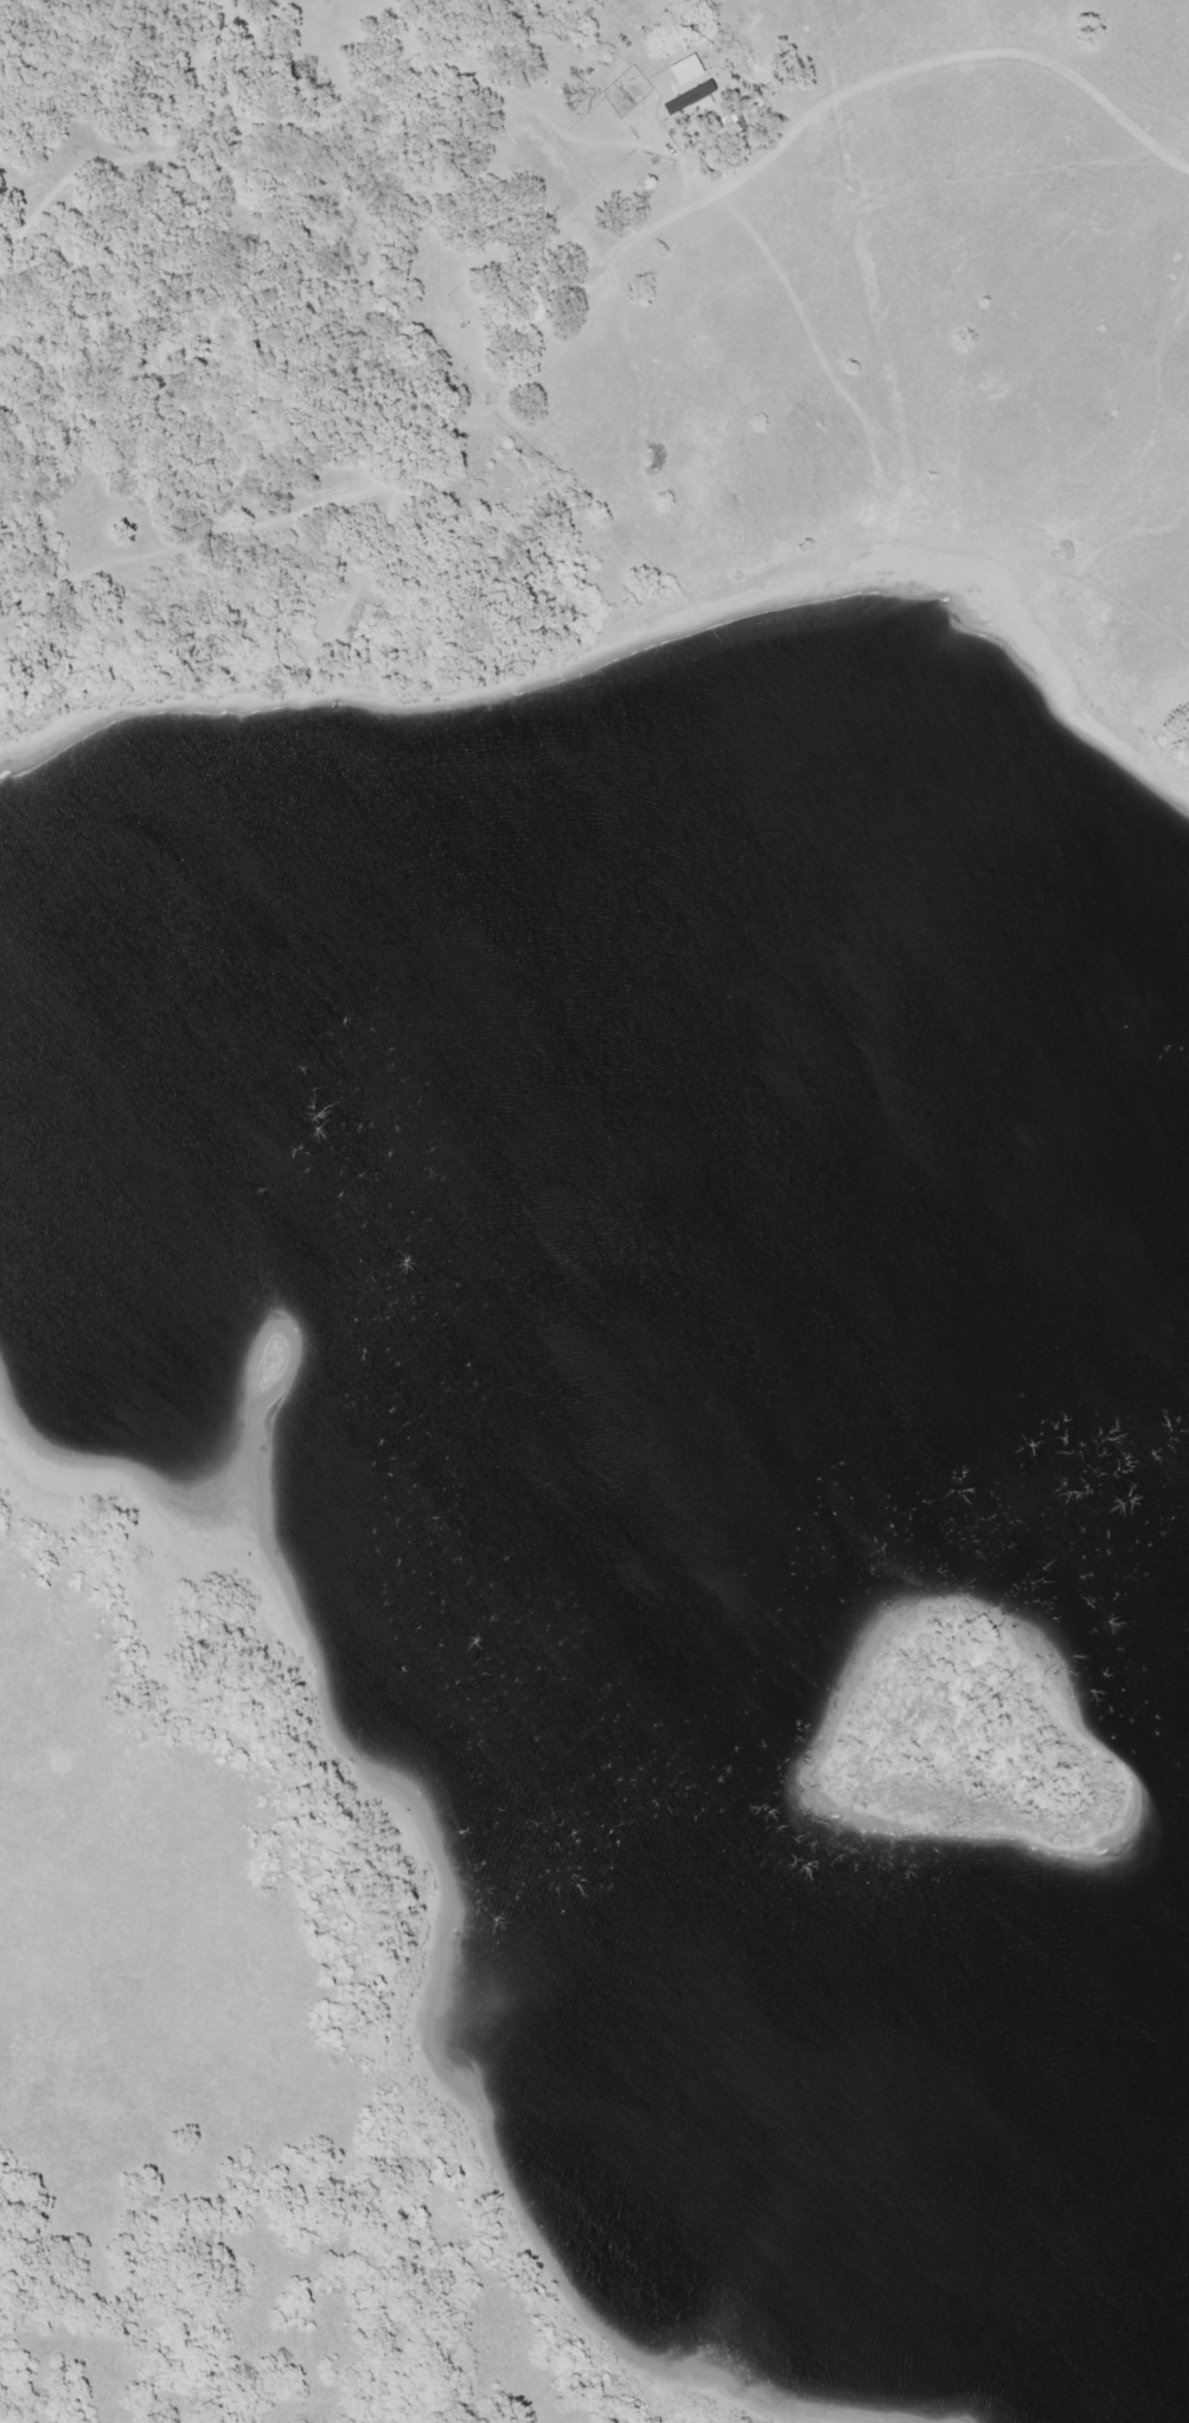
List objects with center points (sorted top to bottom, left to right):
building: (688, 95)

